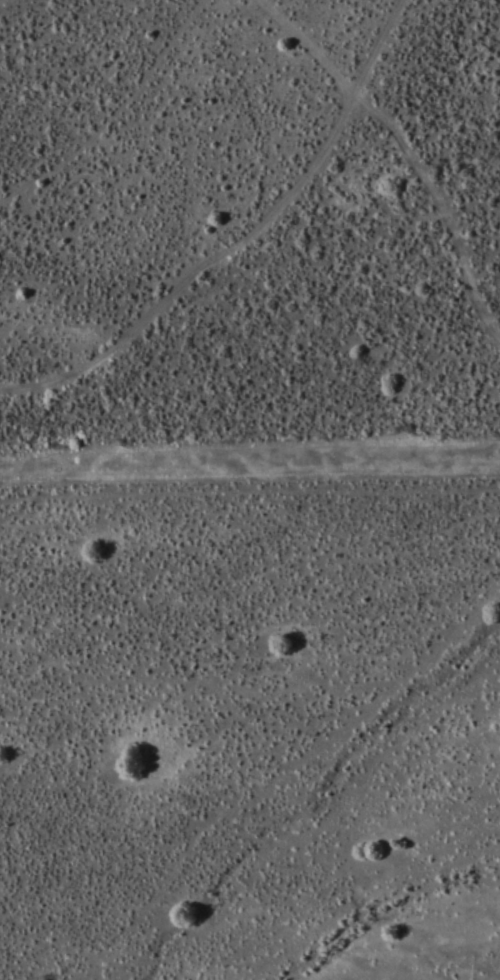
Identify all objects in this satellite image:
road: (198, 139)
road: (240, 238)

